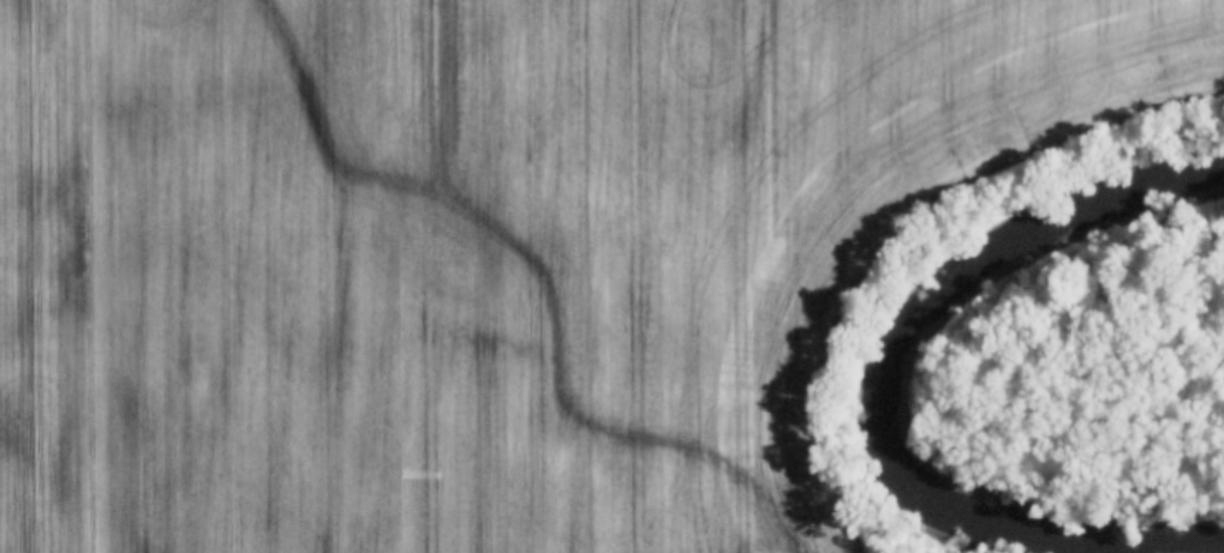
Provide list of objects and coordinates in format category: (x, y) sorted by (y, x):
river: (900, 398)

